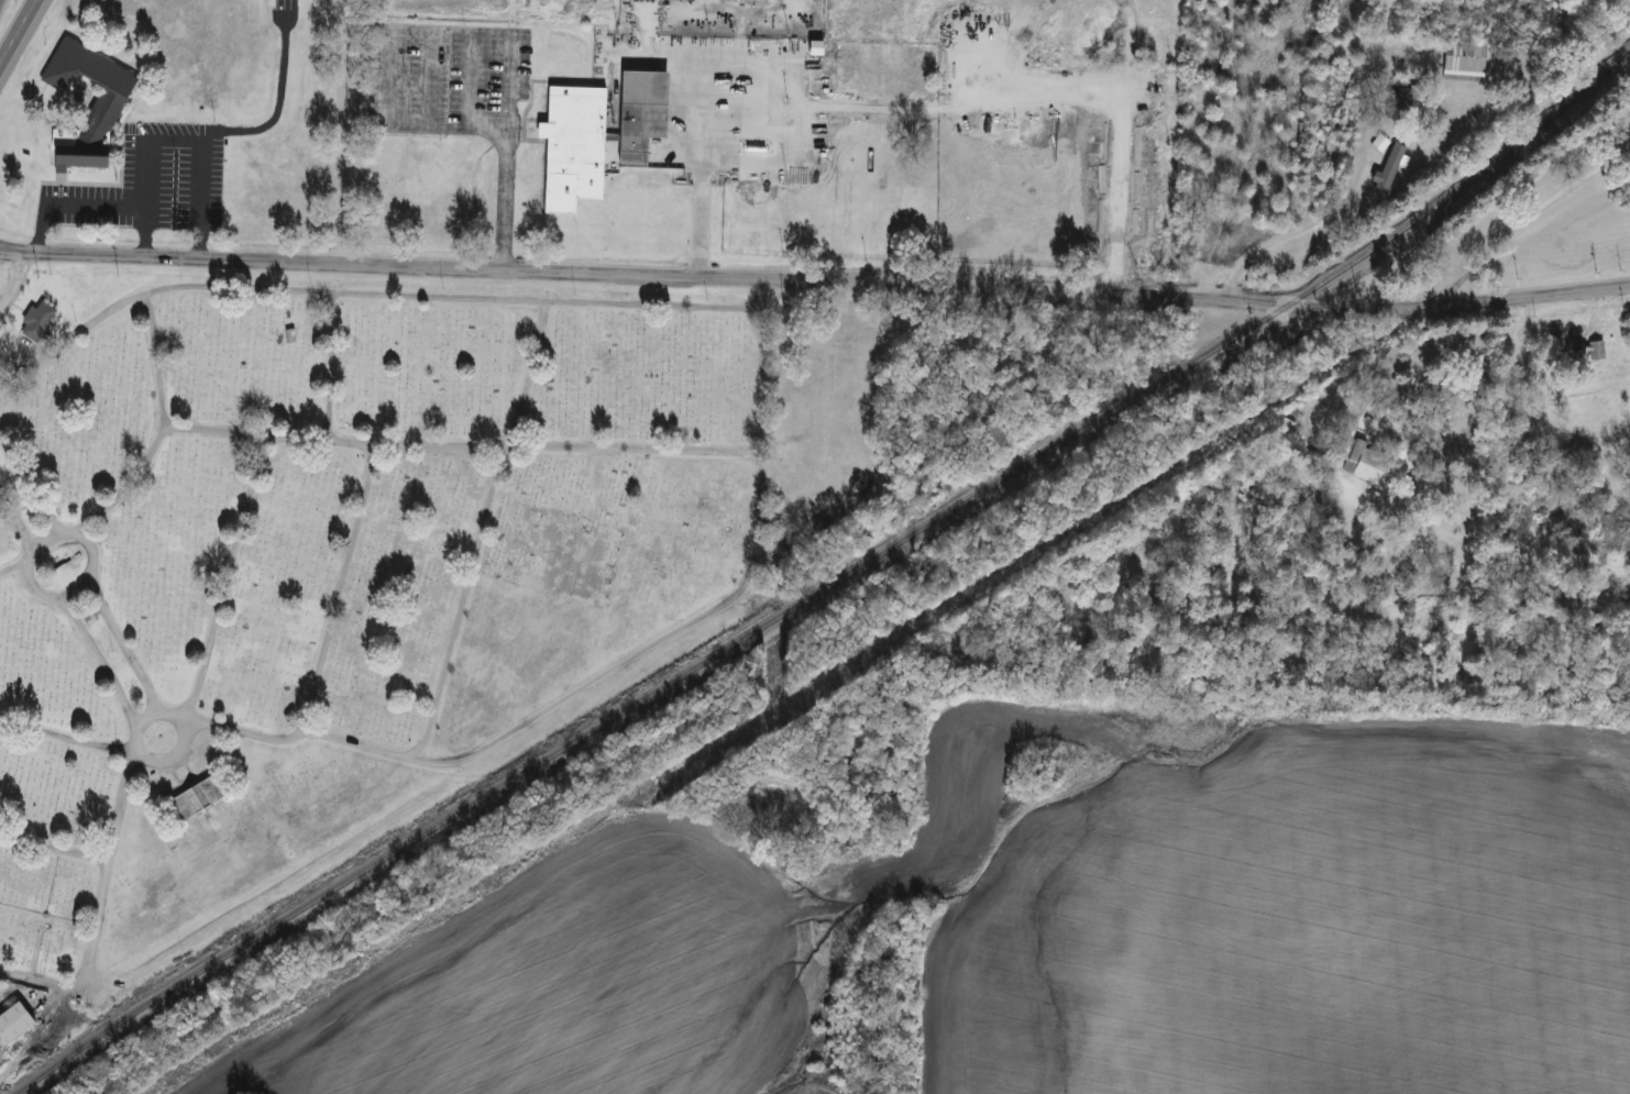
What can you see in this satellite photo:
road: (15, 27)
building: (1463, 60)
building: (114, 89)
building: (1399, 99)
road: (794, 104)
road: (1117, 107)
building: (596, 135)
road: (197, 137)
building: (1378, 143)
road: (503, 154)
building: (1387, 170)
road: (92, 199)
road: (695, 219)
road: (1518, 223)
road: (1292, 241)
road: (815, 281)
building: (35, 321)
building: (1595, 350)
building: (1563, 352)
road: (1339, 432)
building: (1308, 458)
building: (1363, 462)
building: (1530, 505)
park: (354, 556)
railway: (833, 582)
building: (195, 799)
building: (13, 1024)

